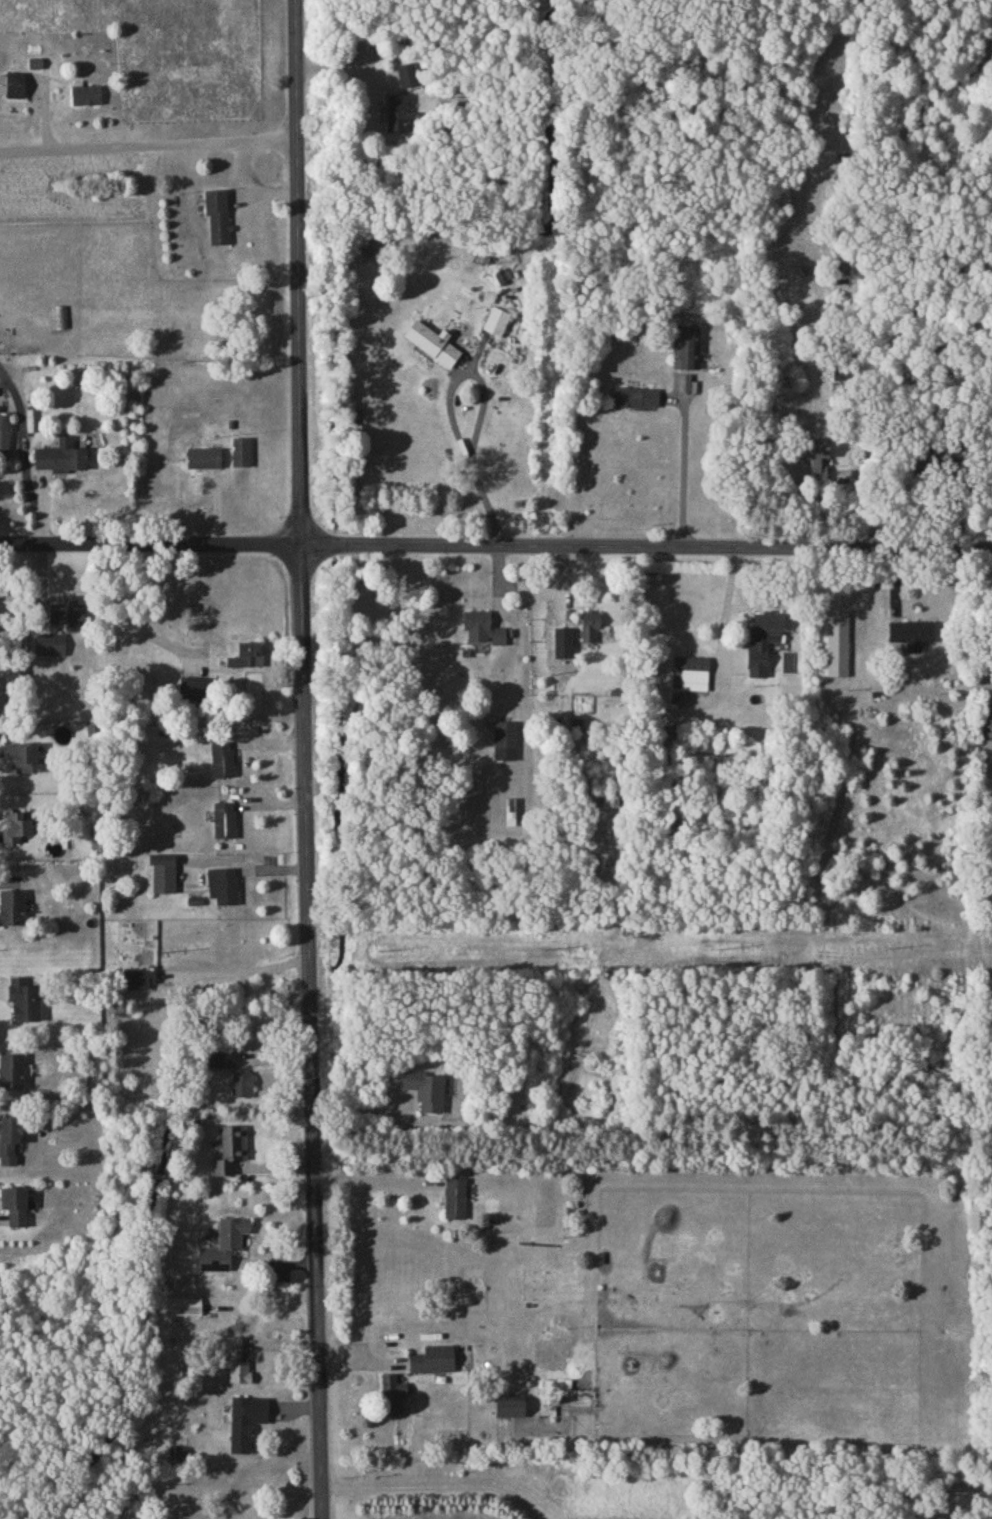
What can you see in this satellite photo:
building: (35, 62)
building: (407, 74)
building: (15, 84)
building: (85, 93)
building: (398, 112)
road: (145, 138)
building: (217, 214)
building: (496, 320)
building: (432, 342)
building: (687, 345)
building: (634, 396)
road: (449, 408)
road: (24, 448)
building: (240, 451)
building: (814, 455)
building: (60, 456)
building: (203, 457)
road: (683, 467)
road: (148, 540)
road: (644, 548)
road: (725, 608)
building: (67, 610)
building: (991, 624)
building: (482, 627)
building: (589, 627)
building: (909, 632)
building: (761, 640)
building: (836, 641)
building: (49, 644)
building: (245, 654)
building: (689, 672)
building: (193, 687)
building: (989, 715)
building: (504, 739)
building: (21, 755)
building: (221, 758)
road: (306, 759)
building: (223, 819)
building: (18, 826)
building: (162, 871)
building: (222, 884)
building: (11, 906)
road: (245, 971)
building: (137, 978)
building: (24, 999)
building: (220, 1058)
building: (11, 1070)
building: (241, 1083)
building: (425, 1089)
building: (9, 1138)
building: (229, 1148)
road: (372, 1175)
building: (454, 1197)
building: (15, 1205)
building: (223, 1243)
building: (186, 1305)
building: (432, 1358)
building: (236, 1360)
building: (390, 1392)
building: (508, 1404)
building: (245, 1420)
road: (435, 1486)

